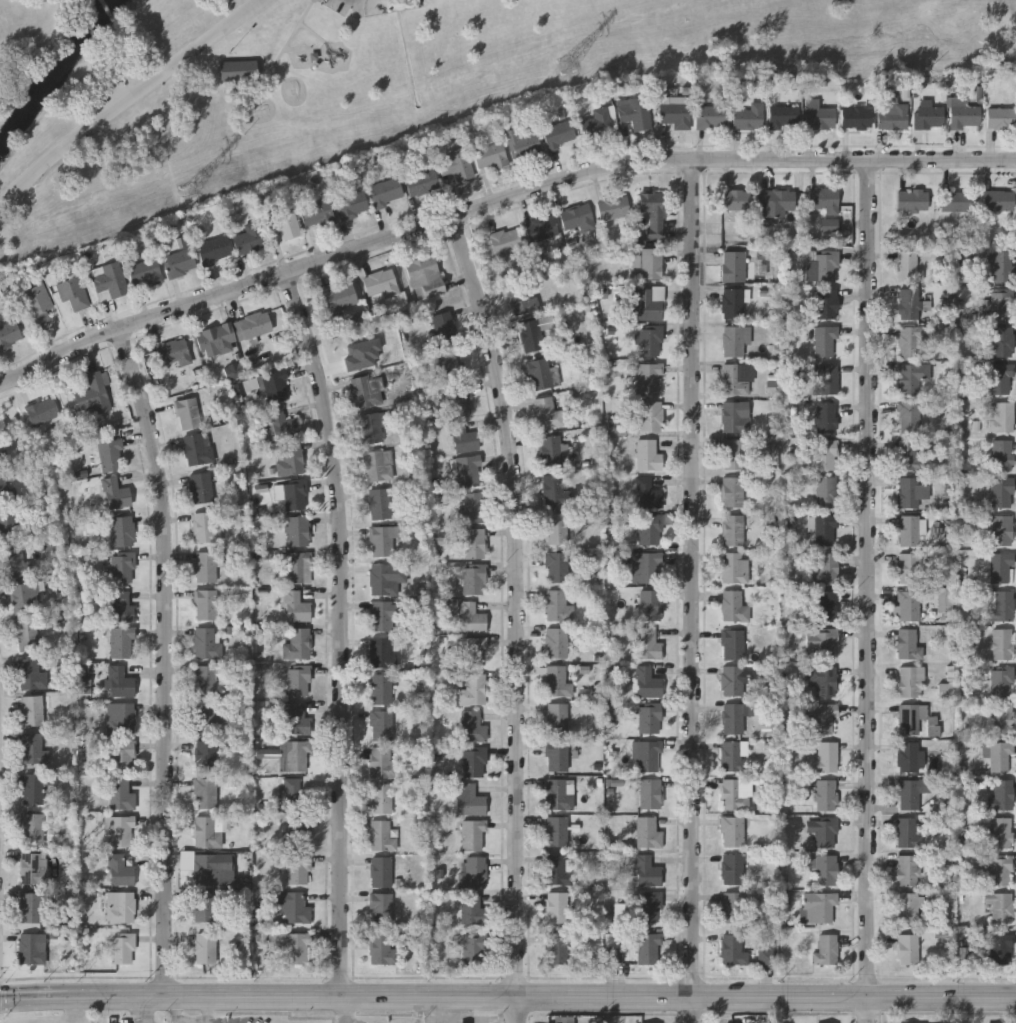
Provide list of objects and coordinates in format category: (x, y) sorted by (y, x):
road: (358, 2)
parking lot: (371, 6)
road: (109, 14)
power tower: (570, 63)
building: (235, 73)
park: (234, 81)
park: (365, 81)
road: (129, 97)
building: (635, 112)
building: (674, 114)
building: (818, 115)
building: (964, 115)
building: (748, 116)
building: (781, 116)
building: (893, 116)
building: (711, 117)
building: (856, 117)
building: (929, 117)
building: (1001, 119)
building: (599, 122)
building: (558, 134)
building: (521, 144)
building: (490, 156)
building: (457, 169)
building: (421, 181)
power tower: (193, 192)
building: (386, 192)
building: (737, 200)
building: (779, 200)
building: (913, 200)
building: (955, 200)
building: (999, 200)
building: (823, 201)
building: (351, 204)
road: (495, 206)
building: (614, 208)
building: (653, 211)
building: (317, 214)
building: (578, 218)
building: (283, 225)
building: (542, 228)
building: (249, 238)
building: (505, 241)
building: (213, 250)
building: (179, 263)
building: (651, 264)
building: (822, 265)
building: (908, 265)
building: (1001, 265)
building: (734, 266)
building: (145, 274)
building: (426, 277)
building: (108, 281)
building: (381, 284)
building: (72, 291)
building: (339, 298)
building: (522, 299)
building: (649, 303)
building: (732, 303)
building: (827, 304)
building: (908, 304)
building: (37, 305)
building: (1003, 305)
building: (253, 325)
building: (443, 329)
building: (9, 334)
building: (530, 336)
building: (216, 340)
building: (650, 341)
building: (825, 341)
building: (1003, 341)
building: (734, 342)
building: (911, 342)
building: (173, 352)
building: (357, 354)
building: (450, 366)
building: (541, 373)
building: (648, 378)
building: (738, 379)
building: (828, 379)
building: (910, 379)
building: (1002, 379)
building: (274, 387)
building: (93, 391)
building: (366, 391)
building: (460, 400)
building: (43, 411)
building: (188, 413)
building: (547, 413)
building: (648, 414)
building: (734, 417)
building: (826, 417)
building: (909, 417)
building: (1001, 417)
building: (281, 424)
building: (372, 427)
building: (3, 429)
building: (463, 438)
building: (197, 449)
building: (551, 451)
building: (110, 454)
building: (734, 454)
building: (648, 455)
building: (826, 455)
building: (910, 455)
building: (1001, 455)
building: (290, 459)
building: (378, 465)
building: (468, 471)
building: (202, 488)
building: (555, 490)
building: (732, 492)
building: (827, 492)
building: (912, 492)
building: (1002, 492)
building: (7, 493)
building: (647, 493)
building: (292, 494)
building: (115, 495)
building: (380, 504)
building: (472, 508)
building: (8, 523)
building: (206, 527)
building: (557, 528)
building: (651, 529)
building: (733, 529)
building: (825, 530)
building: (1003, 530)
building: (122, 531)
building: (298, 531)
building: (909, 531)
building: (383, 541)
building: (474, 543)
building: (16, 562)
building: (206, 566)
building: (122, 567)
building: (299, 567)
building: (557, 567)
building: (999, 567)
building: (650, 568)
building: (826, 568)
building: (911, 568)
building: (387, 578)
building: (474, 579)
road: (694, 591)
road: (870, 592)
building: (23, 598)
building: (205, 604)
building: (651, 605)
building: (909, 605)
building: (1001, 605)
building: (120, 606)
building: (558, 606)
building: (734, 606)
building: (825, 606)
building: (296, 607)
building: (383, 614)
road: (523, 617)
building: (472, 618)
road: (343, 627)
building: (27, 635)
building: (121, 642)
building: (207, 642)
building: (556, 642)
building: (298, 643)
building: (648, 643)
building: (822, 643)
building: (908, 644)
building: (1001, 644)
building: (733, 645)
building: (381, 652)
building: (471, 652)
road: (164, 660)
building: (29, 673)
building: (205, 680)
building: (298, 680)
building: (732, 680)
building: (824, 680)
building: (120, 681)
building: (557, 681)
building: (911, 681)
building: (1002, 681)
building: (647, 682)
building: (381, 688)
building: (473, 690)
building: (32, 710)
building: (735, 716)
building: (204, 717)
building: (121, 718)
building: (557, 718)
building: (824, 718)
building: (297, 719)
building: (651, 719)
building: (912, 719)
building: (1003, 719)
building: (381, 725)
building: (473, 726)
building: (33, 747)
building: (123, 755)
building: (558, 755)
building: (649, 755)
building: (205, 756)
building: (297, 756)
building: (734, 756)
building: (911, 756)
building: (1000, 757)
building: (827, 758)
building: (474, 762)
building: (382, 763)
building: (33, 788)
building: (205, 793)
building: (559, 794)
building: (651, 794)
building: (909, 794)
building: (121, 795)
building: (294, 795)
building: (734, 795)
building: (826, 795)
building: (1002, 795)
building: (381, 798)
building: (472, 801)
building: (32, 828)
building: (119, 831)
building: (208, 831)
building: (732, 831)
building: (298, 832)
building: (556, 832)
building: (826, 832)
building: (648, 833)
building: (908, 833)
building: (1001, 833)
building: (472, 835)
building: (381, 836)
building: (33, 868)
building: (206, 868)
building: (298, 869)
building: (732, 869)
building: (1000, 869)
building: (558, 870)
building: (827, 870)
building: (908, 870)
building: (121, 872)
building: (381, 872)
building: (473, 872)
building: (648, 872)
building: (206, 906)
building: (121, 907)
building: (293, 907)
building: (557, 907)
building: (649, 907)
building: (733, 907)
building: (1000, 907)
building: (32, 908)
building: (382, 908)
building: (818, 908)
building: (910, 908)
building: (472, 910)
building: (290, 946)
building: (32, 948)
building: (122, 948)
building: (205, 948)
building: (382, 948)
building: (474, 948)
building: (649, 948)
building: (557, 949)
building: (732, 949)
building: (1000, 949)
building: (826, 950)
building: (908, 950)
road: (253, 996)
road: (679, 996)
road: (82, 998)
road: (147, 1010)
road: (209, 1010)
road: (78, 1011)

